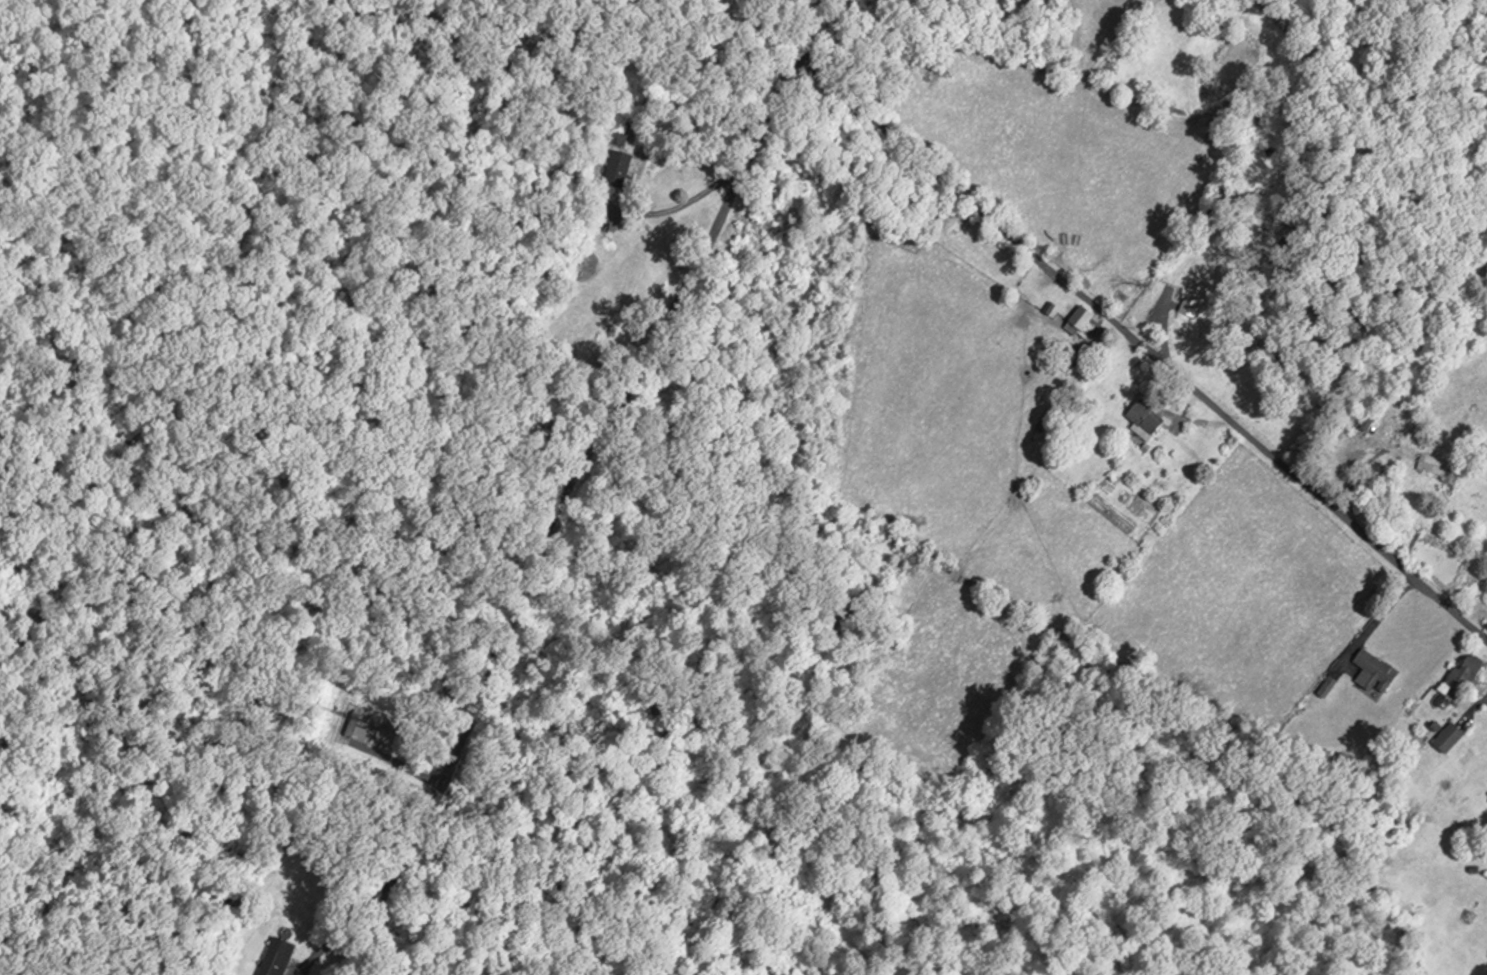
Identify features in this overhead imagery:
building: (615, 131)
building: (618, 170)
road: (656, 212)
road: (52, 224)
building: (1193, 298)
building: (1082, 322)
road: (1159, 324)
road: (1142, 347)
road: (285, 348)
road: (1184, 418)
building: (1144, 420)
building: (1399, 429)
road: (1351, 468)
building: (1439, 468)
road: (563, 492)
road: (1372, 624)
building: (1373, 674)
building: (1463, 674)
building: (1325, 688)
road: (1473, 710)
building: (351, 724)
building: (1447, 738)
road: (394, 762)
road: (508, 828)
building: (276, 958)

